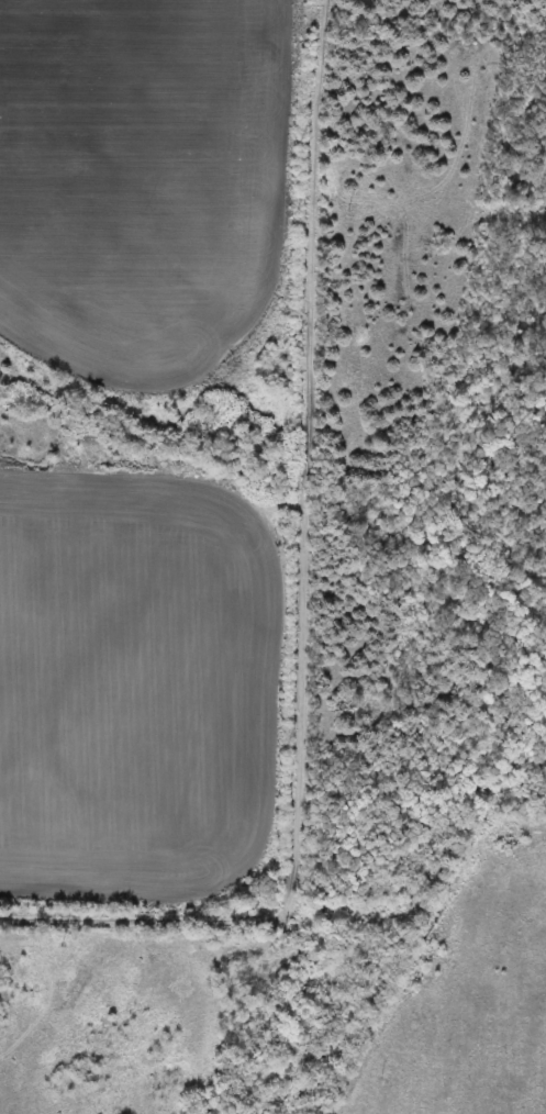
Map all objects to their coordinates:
road: (304, 600)

